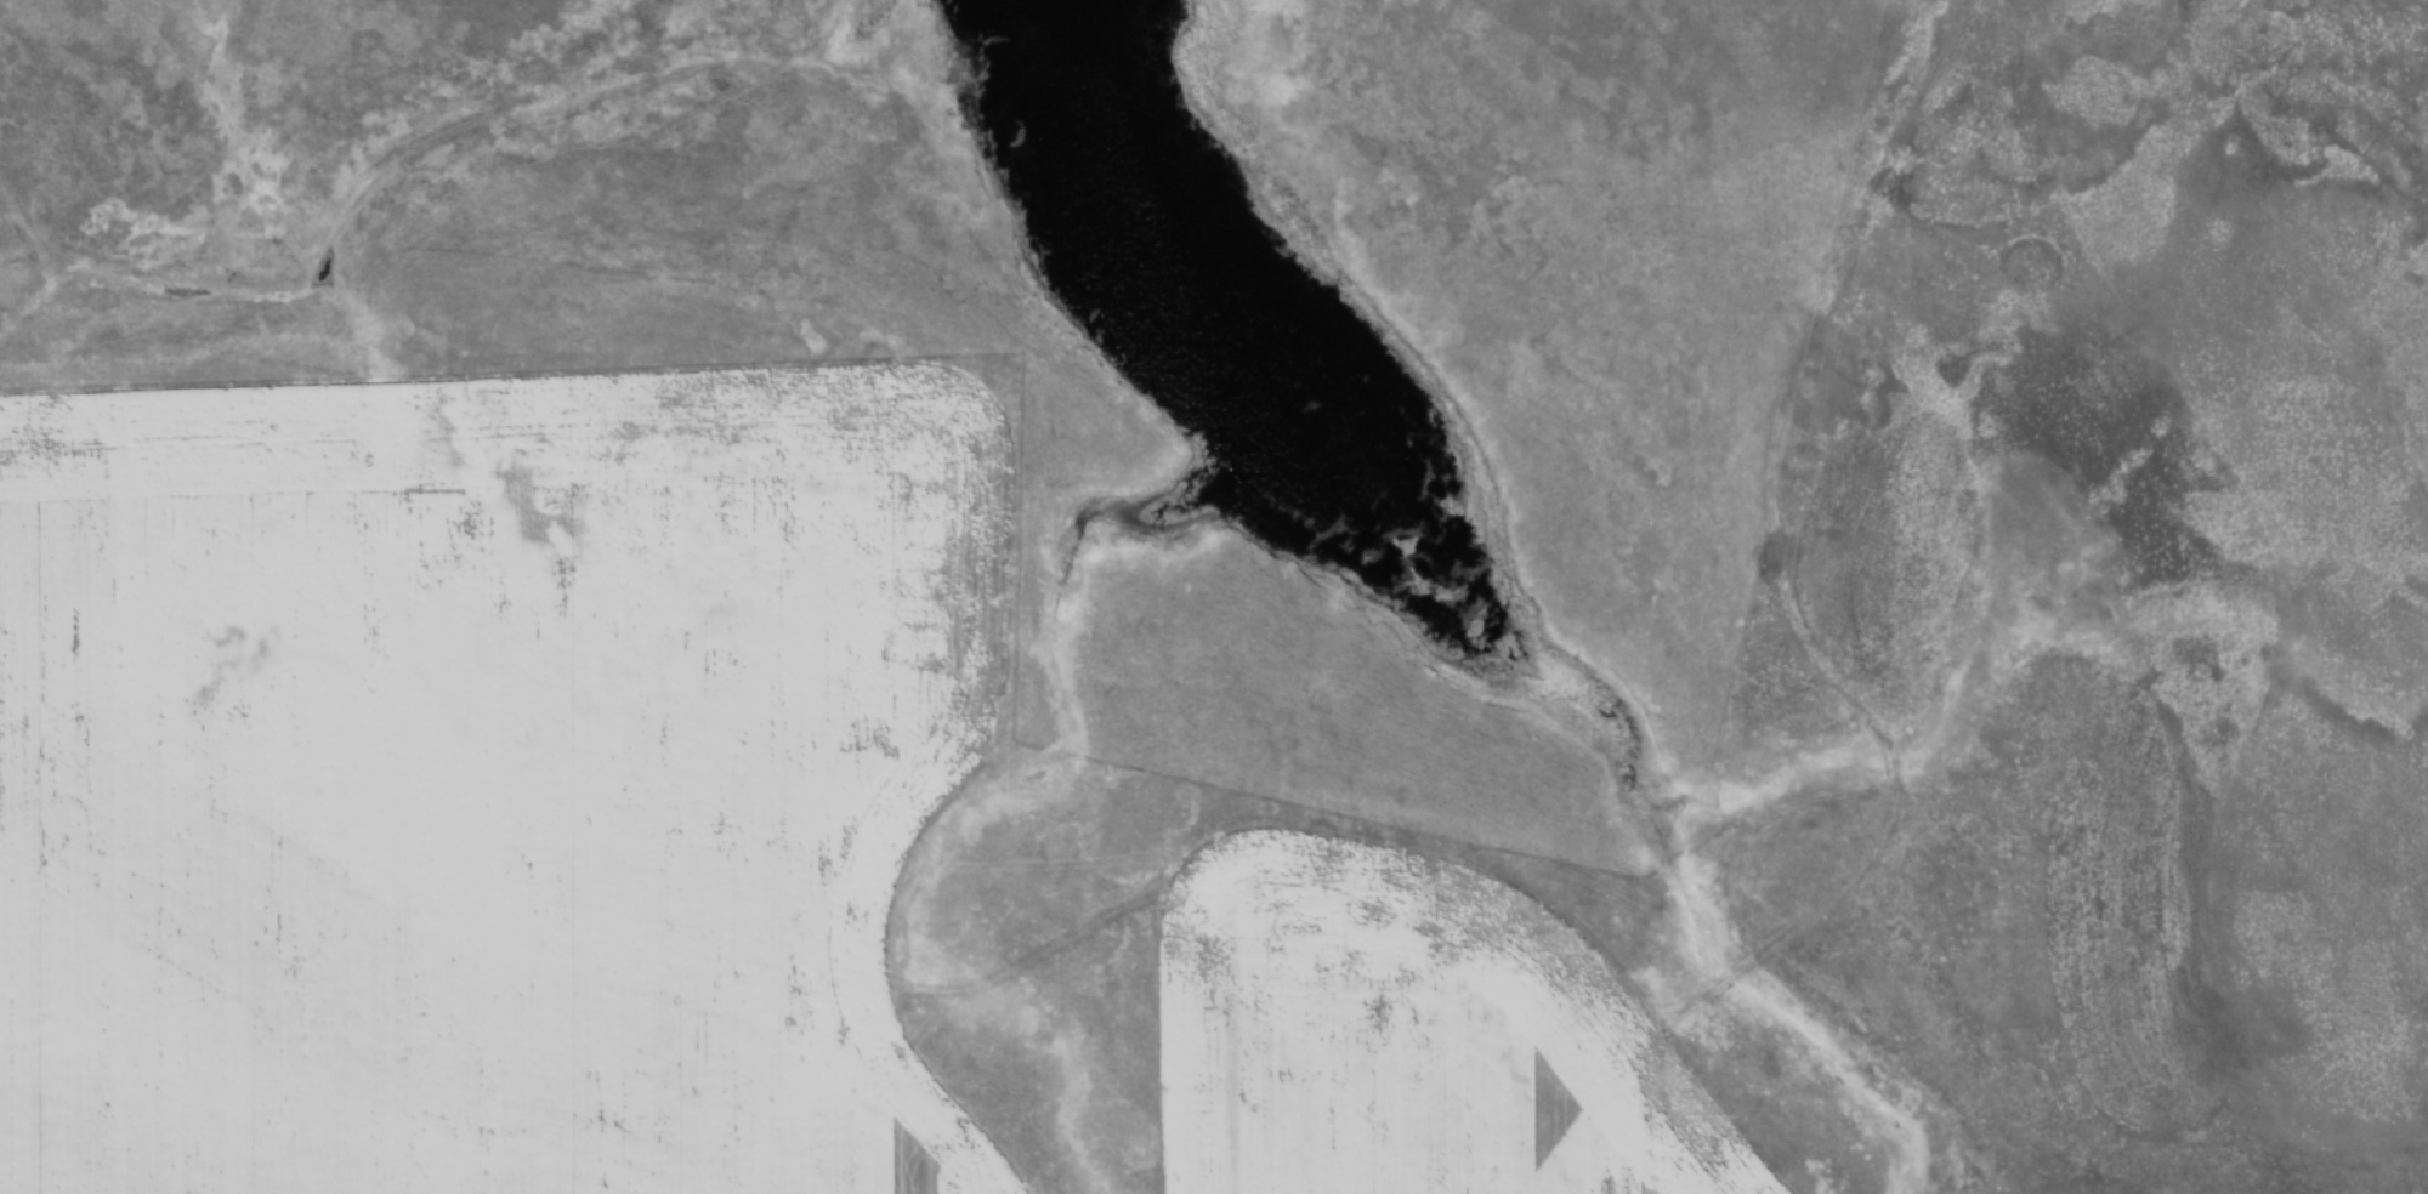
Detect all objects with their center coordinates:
dam: (829, 21)

